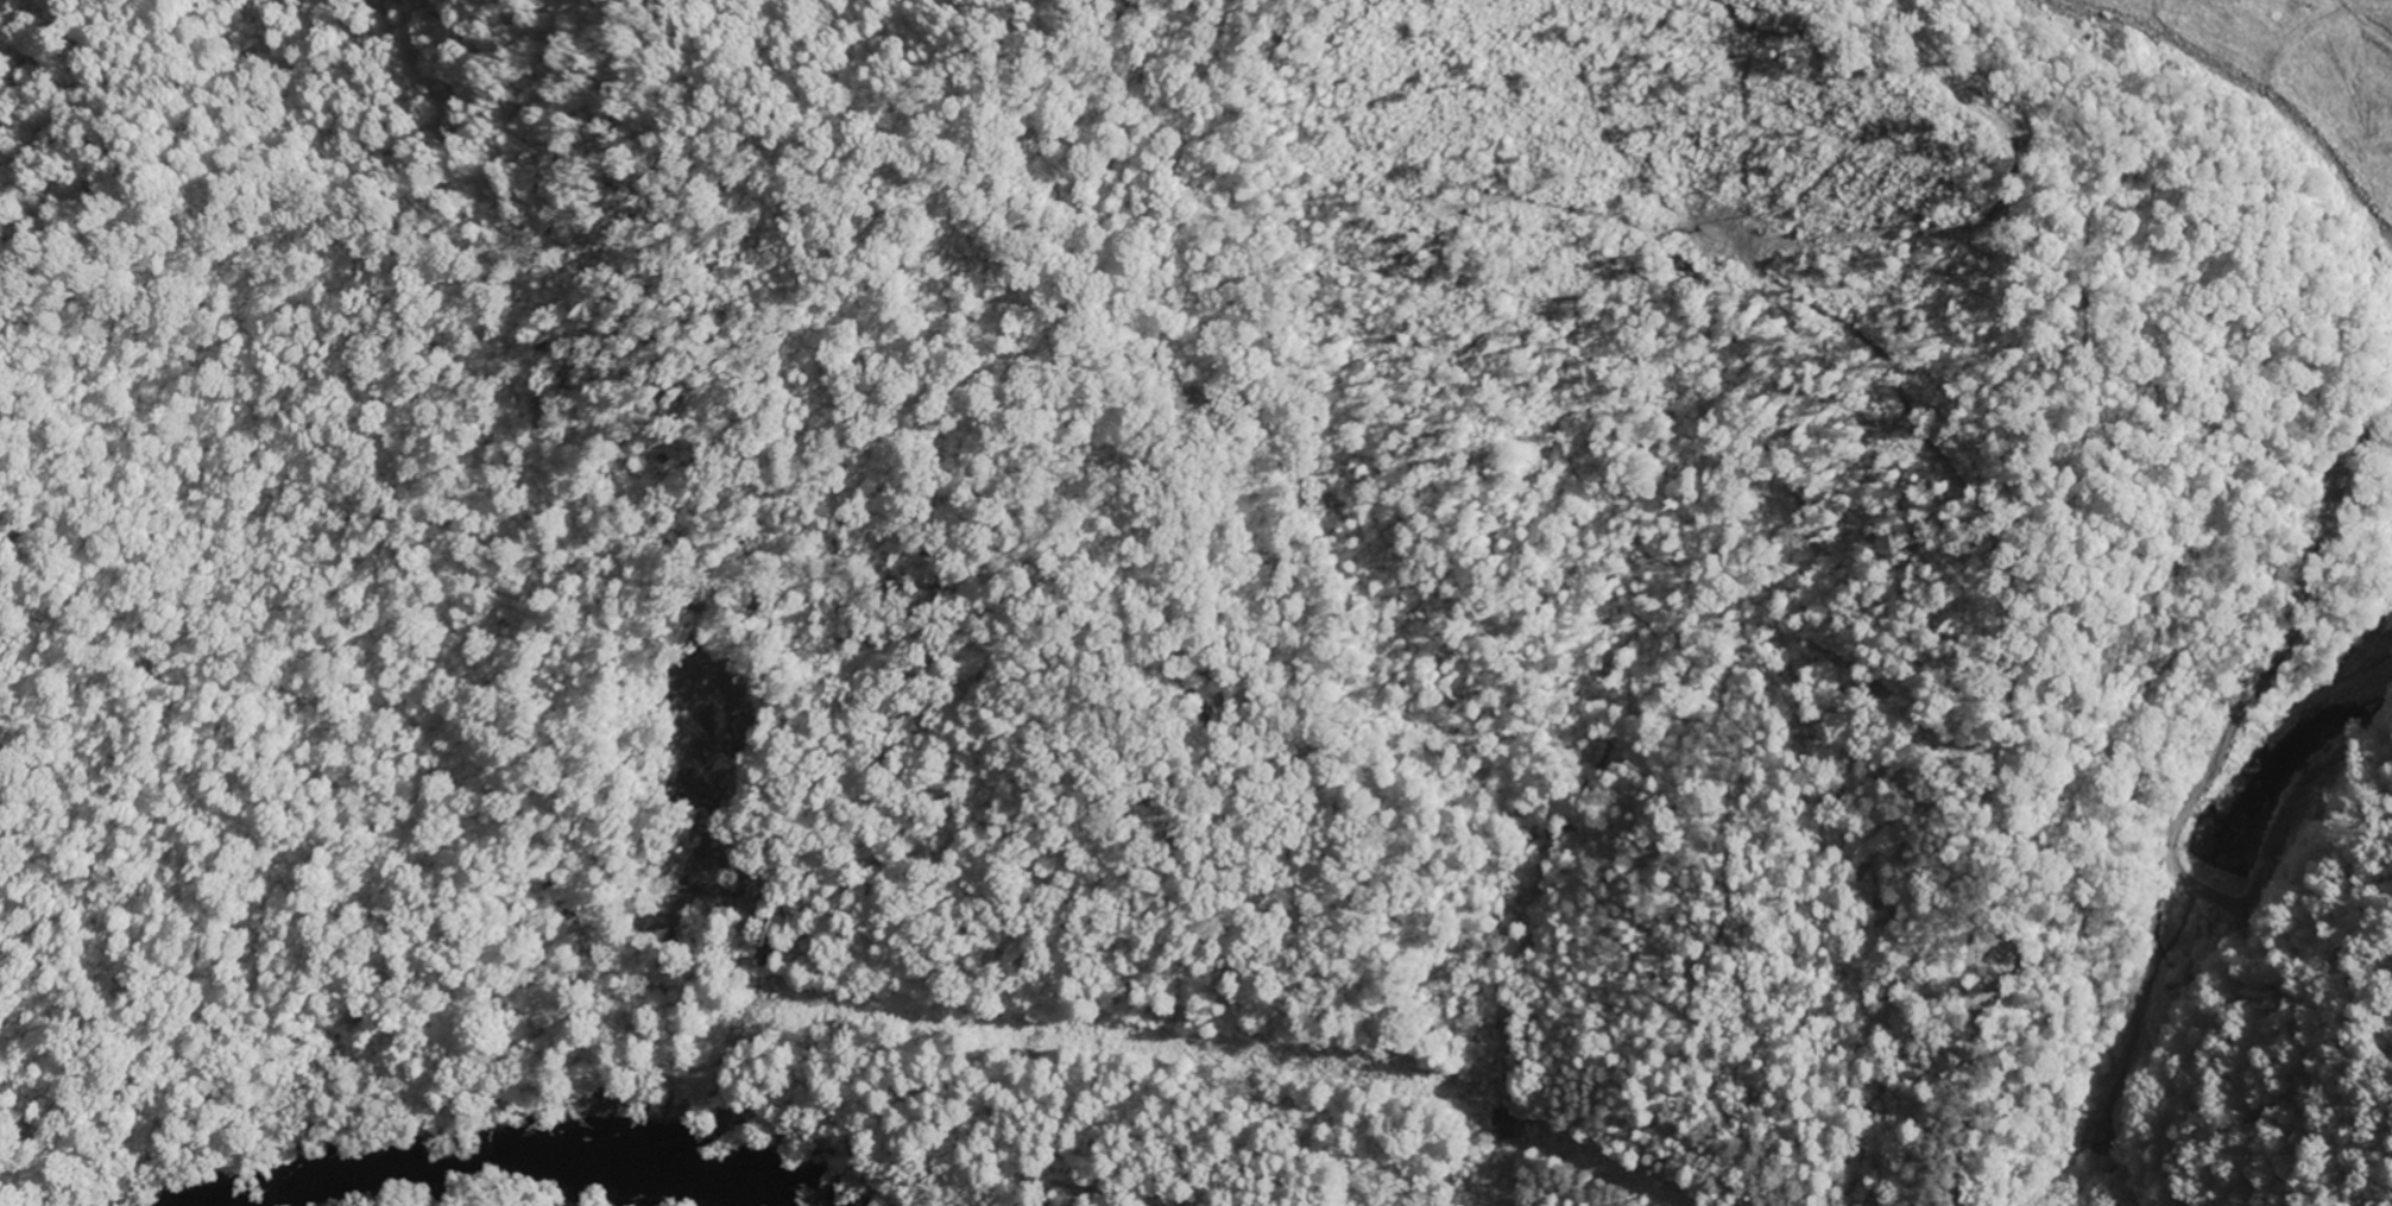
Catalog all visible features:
quarry: (2267, 87)
building: (1504, 1125)
river: (553, 1158)

